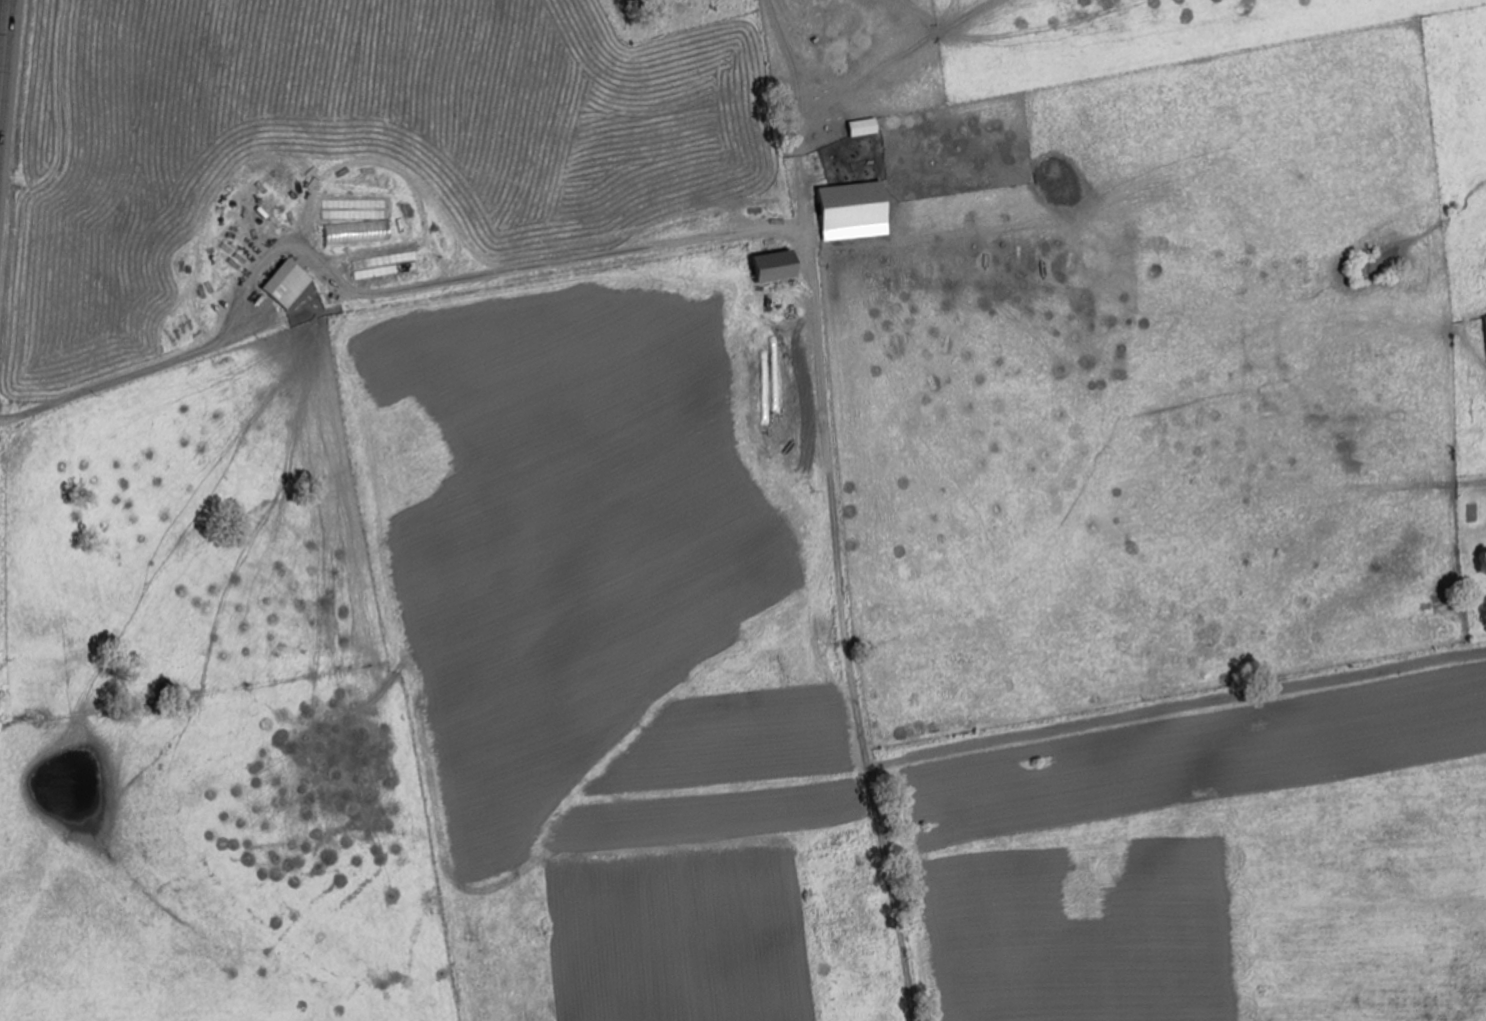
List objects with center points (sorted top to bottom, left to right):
building: (996, 14)
road: (4, 47)
building: (867, 127)
building: (853, 196)
building: (779, 266)
building: (289, 283)
road: (879, 510)

